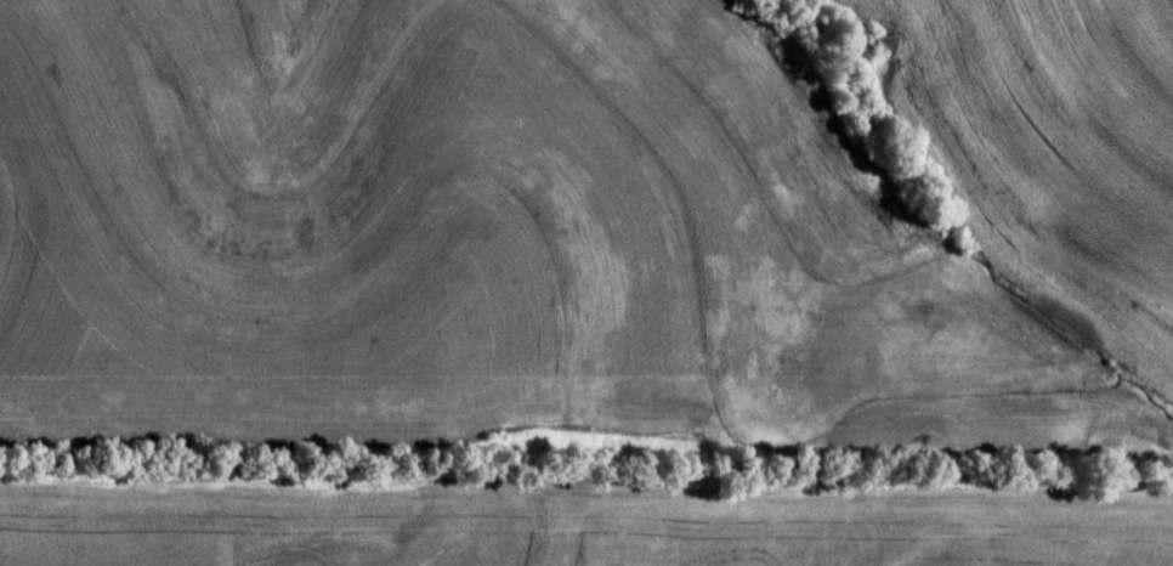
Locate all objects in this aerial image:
building: (877, 41)

